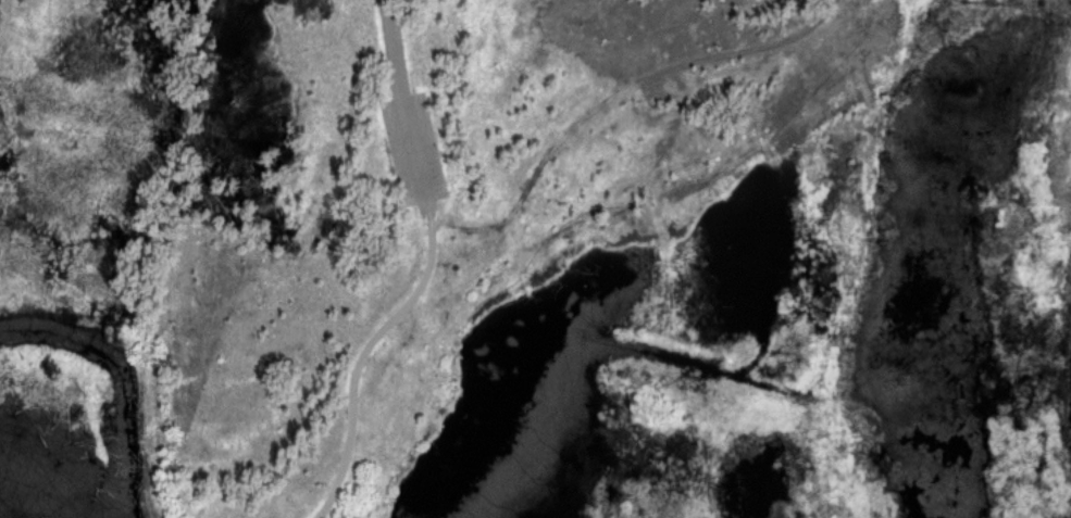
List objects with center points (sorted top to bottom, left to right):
road: (410, 103)
parking lot: (420, 143)
road: (369, 354)

